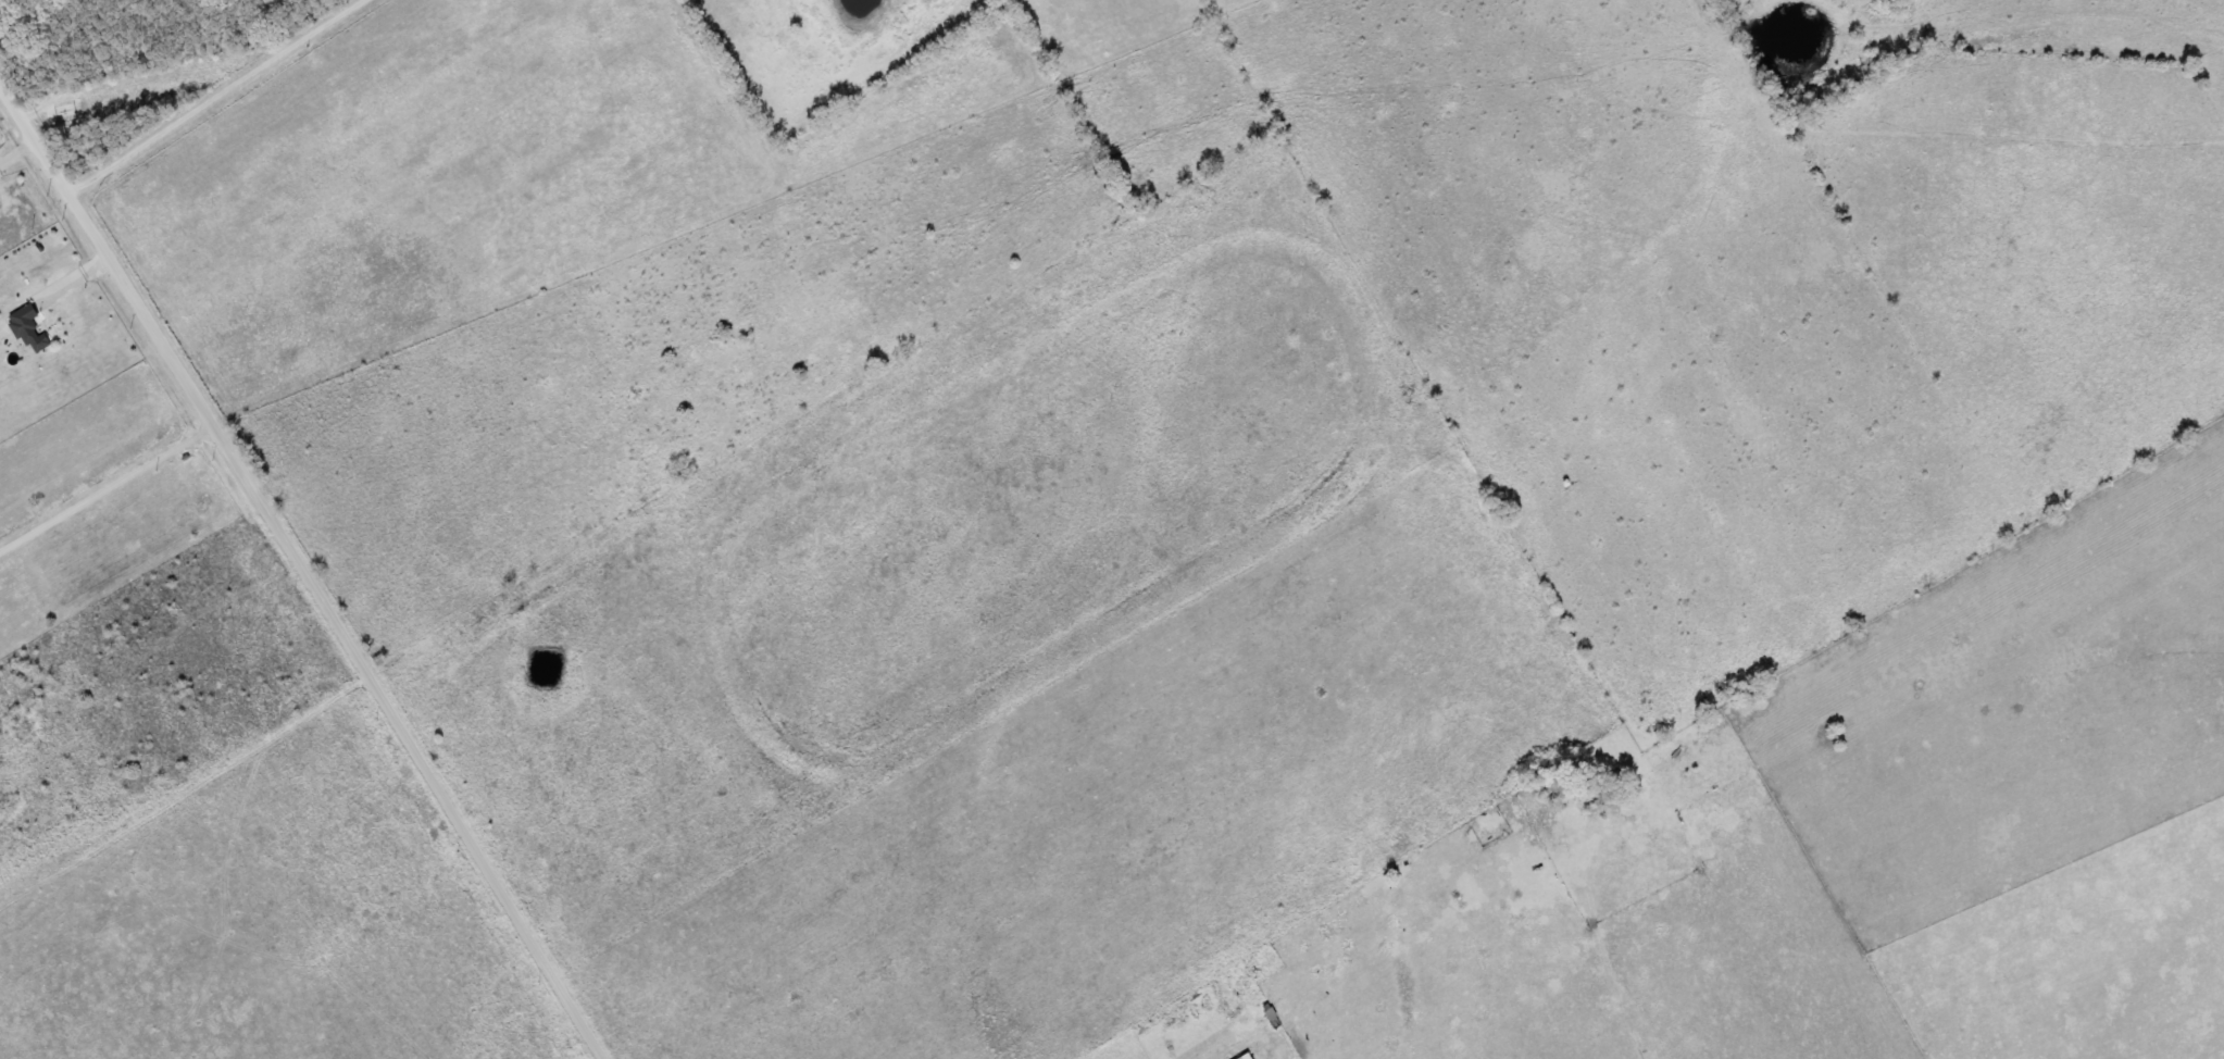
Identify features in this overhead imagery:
road: (215, 98)
building: (25, 329)
road: (303, 571)

